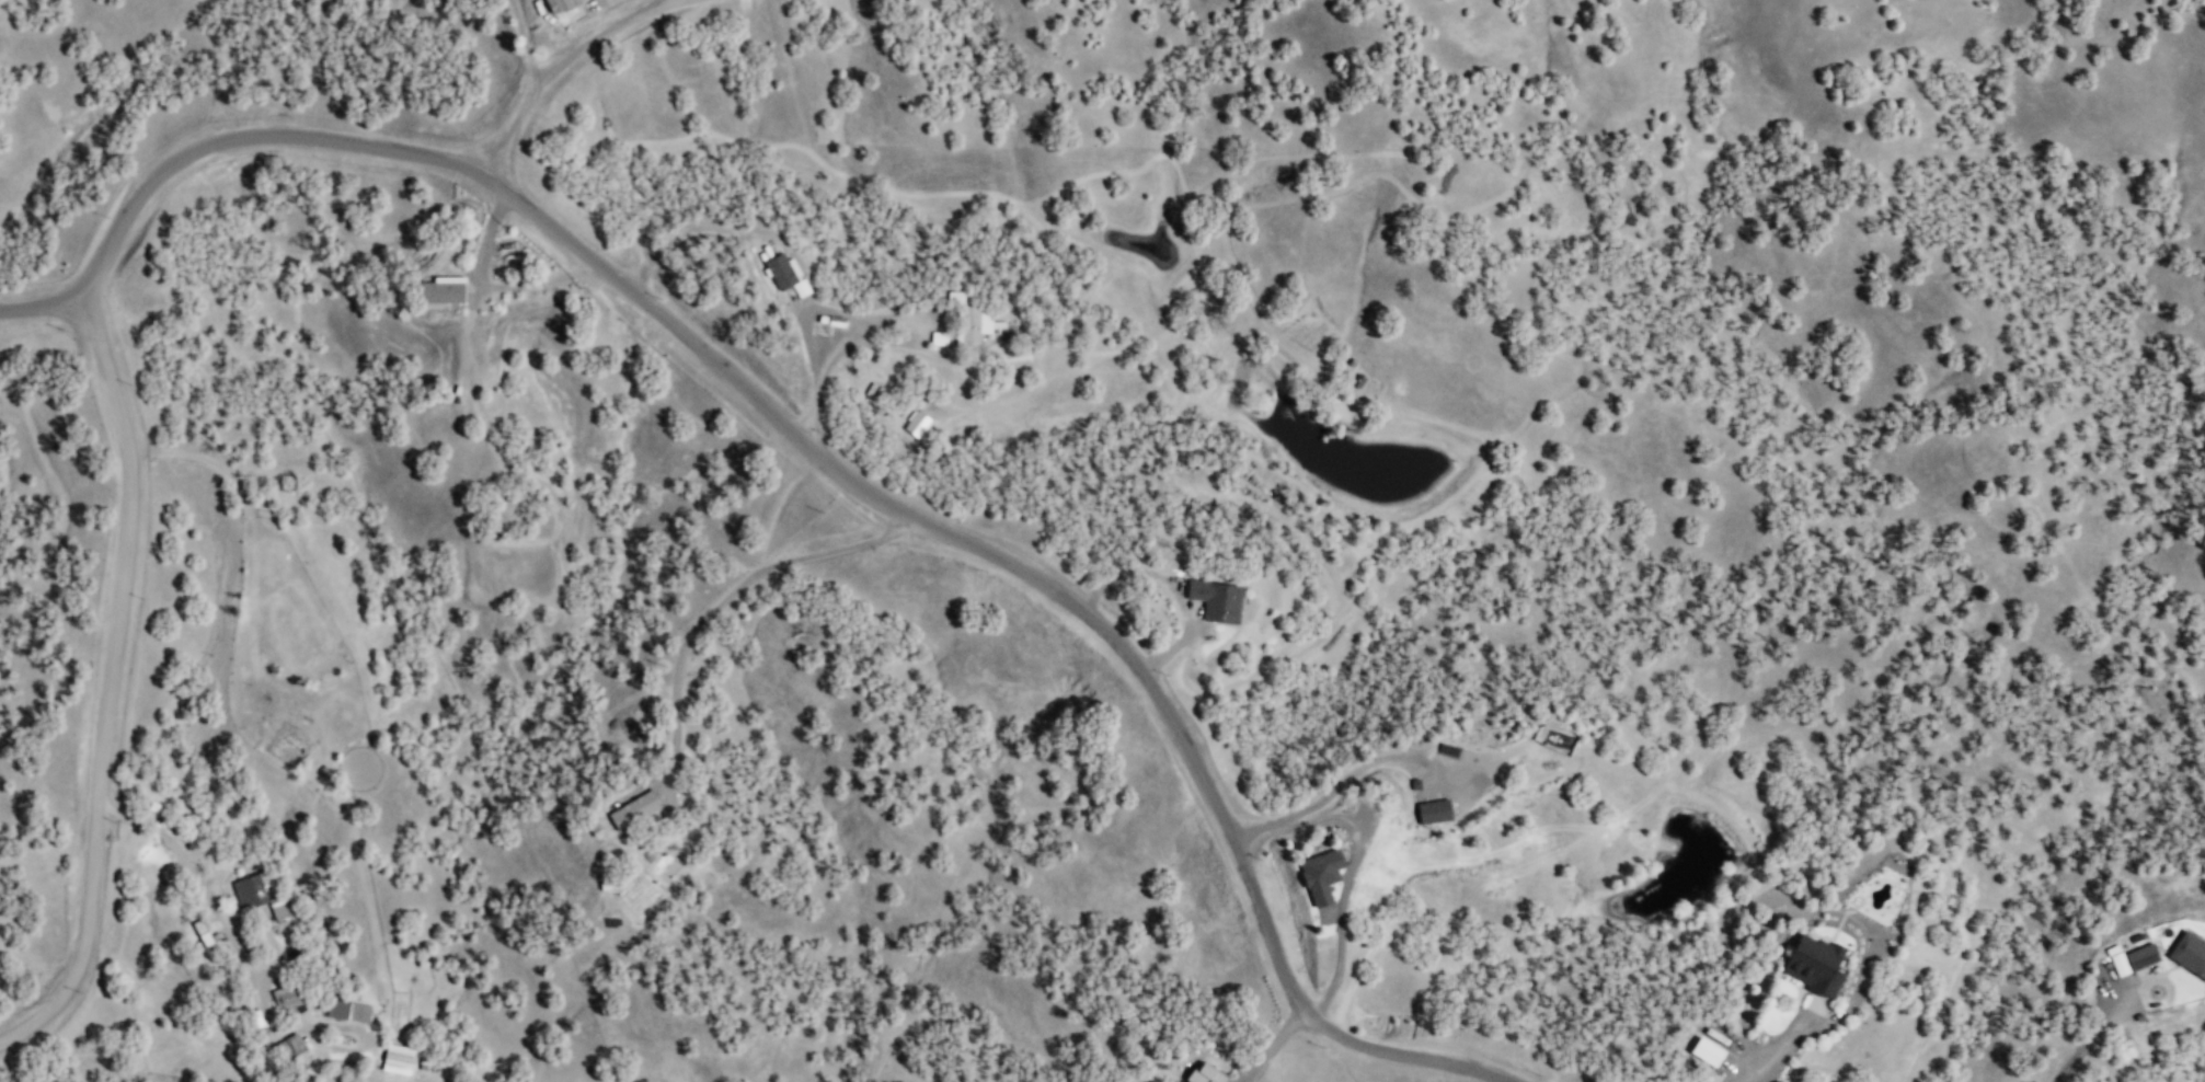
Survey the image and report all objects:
building: (559, 5)
road: (556, 68)
road: (770, 270)
building: (785, 273)
building: (440, 292)
road: (42, 310)
road: (901, 315)
building: (973, 325)
building: (818, 331)
building: (917, 424)
road: (128, 444)
road: (1060, 587)
road: (730, 597)
building: (1217, 601)
building: (633, 808)
building: (1434, 810)
building: (1320, 874)
building: (259, 896)
building: (202, 932)
building: (2189, 953)
building: (2132, 957)
building: (1814, 964)
road: (249, 968)
building: (288, 1000)
building: (348, 1011)
road: (1279, 1039)
building: (292, 1048)
building: (1707, 1050)
road: (1767, 1050)
building: (398, 1059)
building: (1205, 1073)

